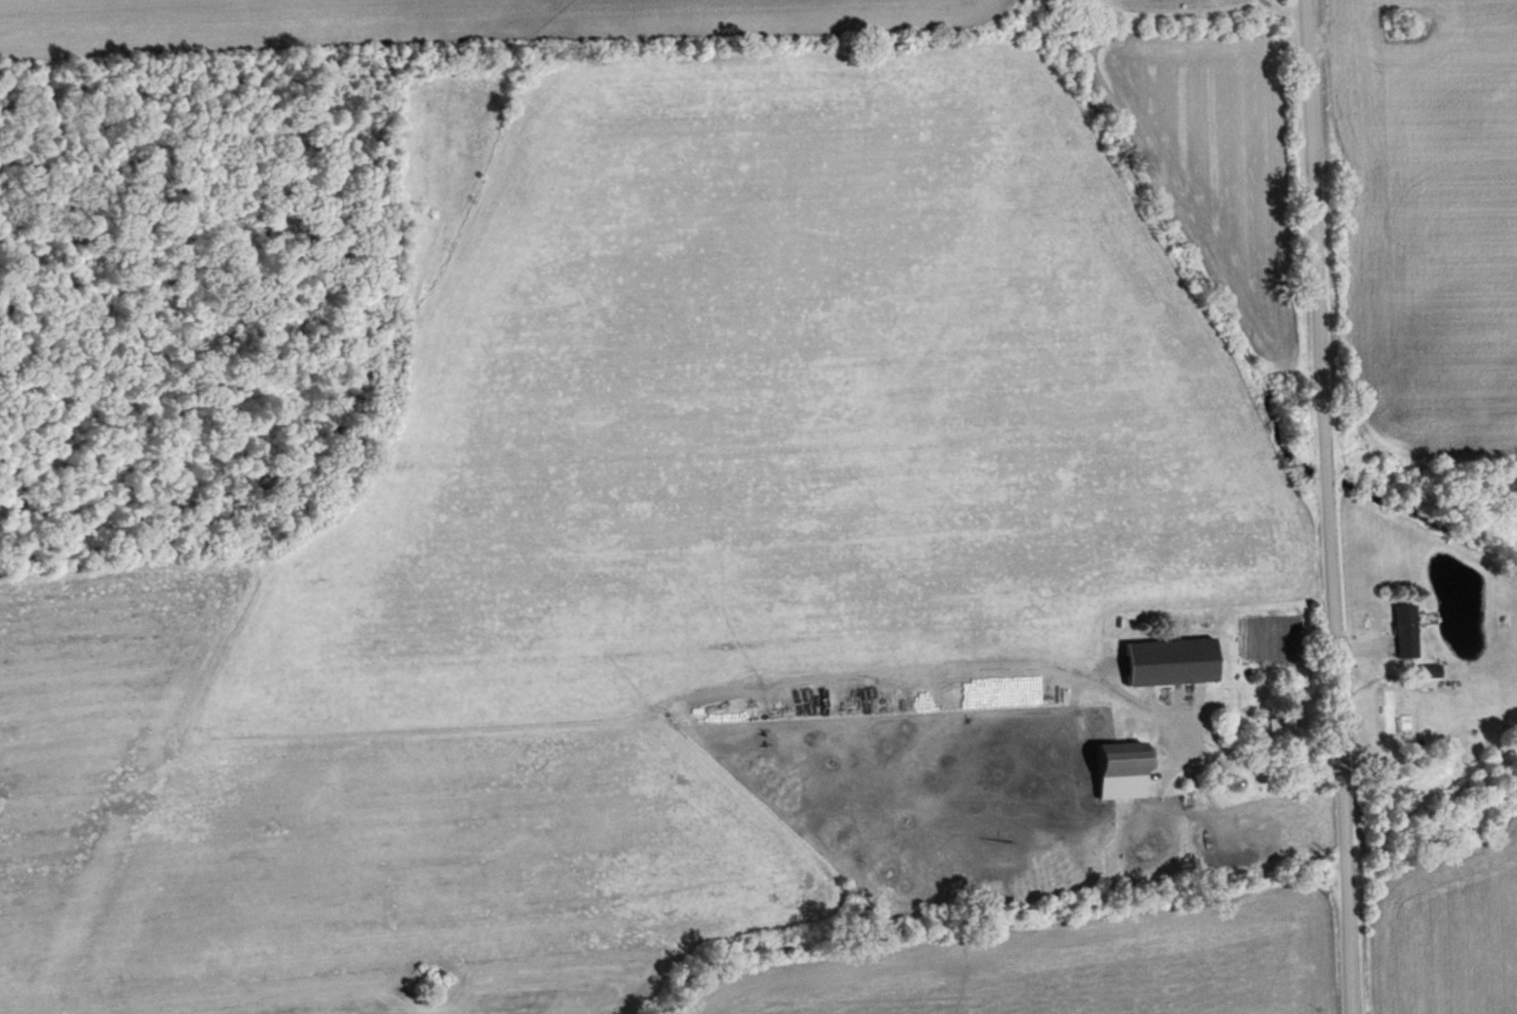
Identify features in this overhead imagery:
road: (1324, 507)
building: (1406, 630)
building: (1172, 661)
building: (1281, 723)
building: (1122, 770)

